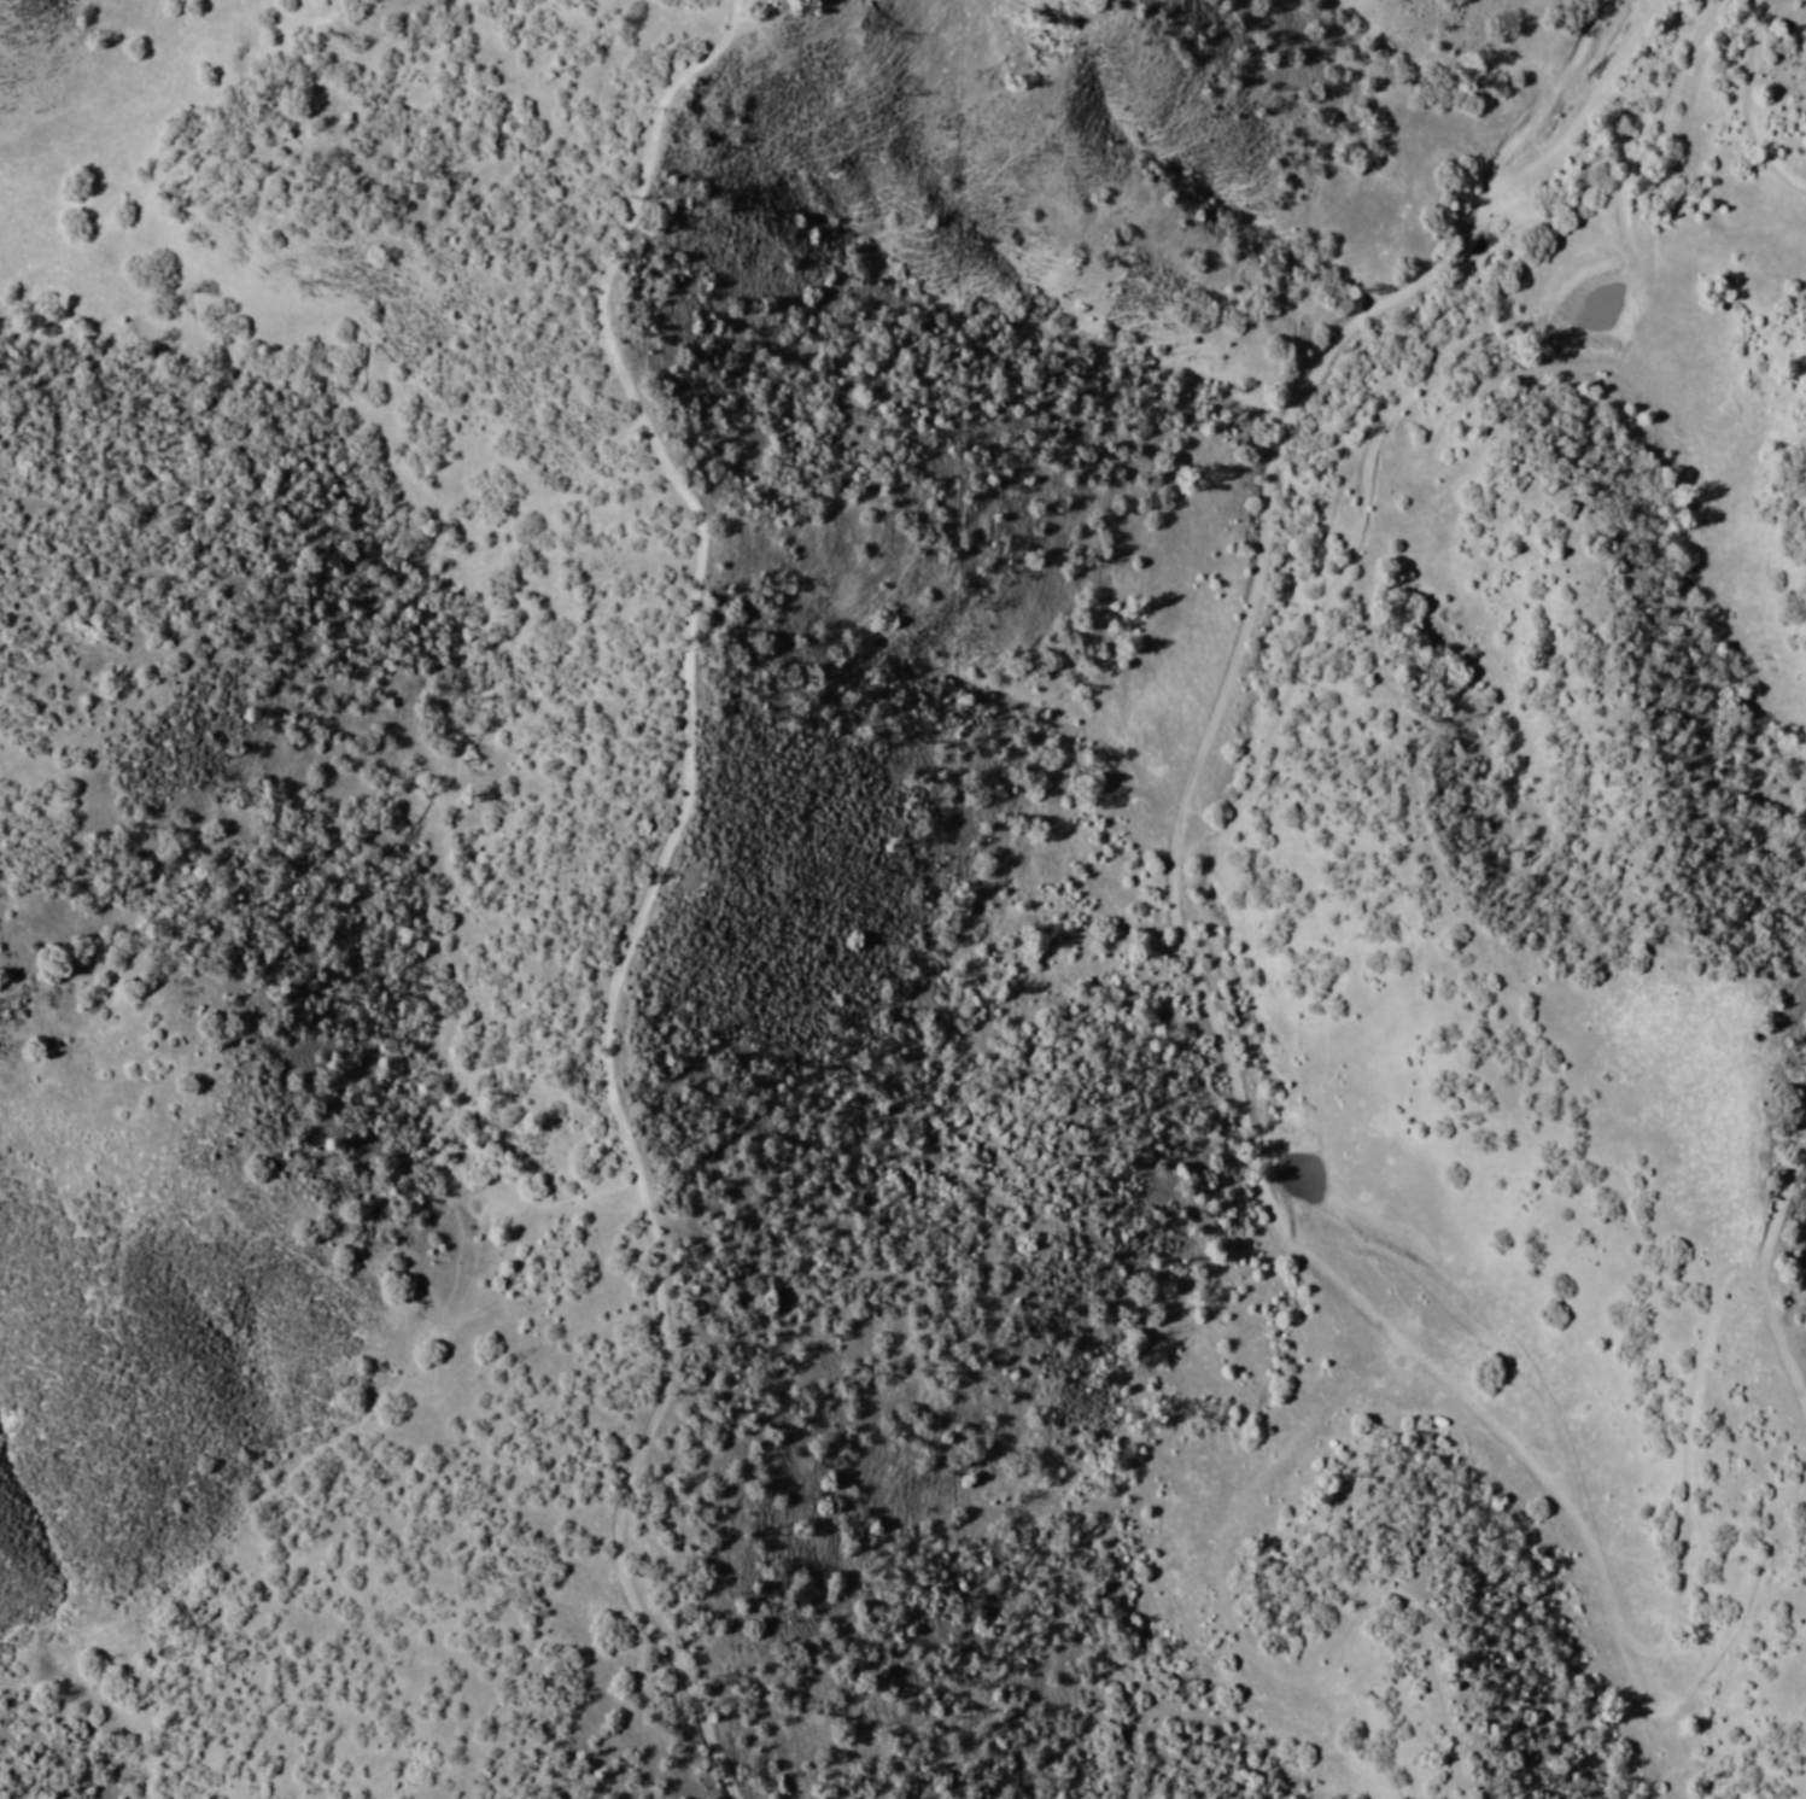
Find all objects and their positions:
road: (651, 894)

